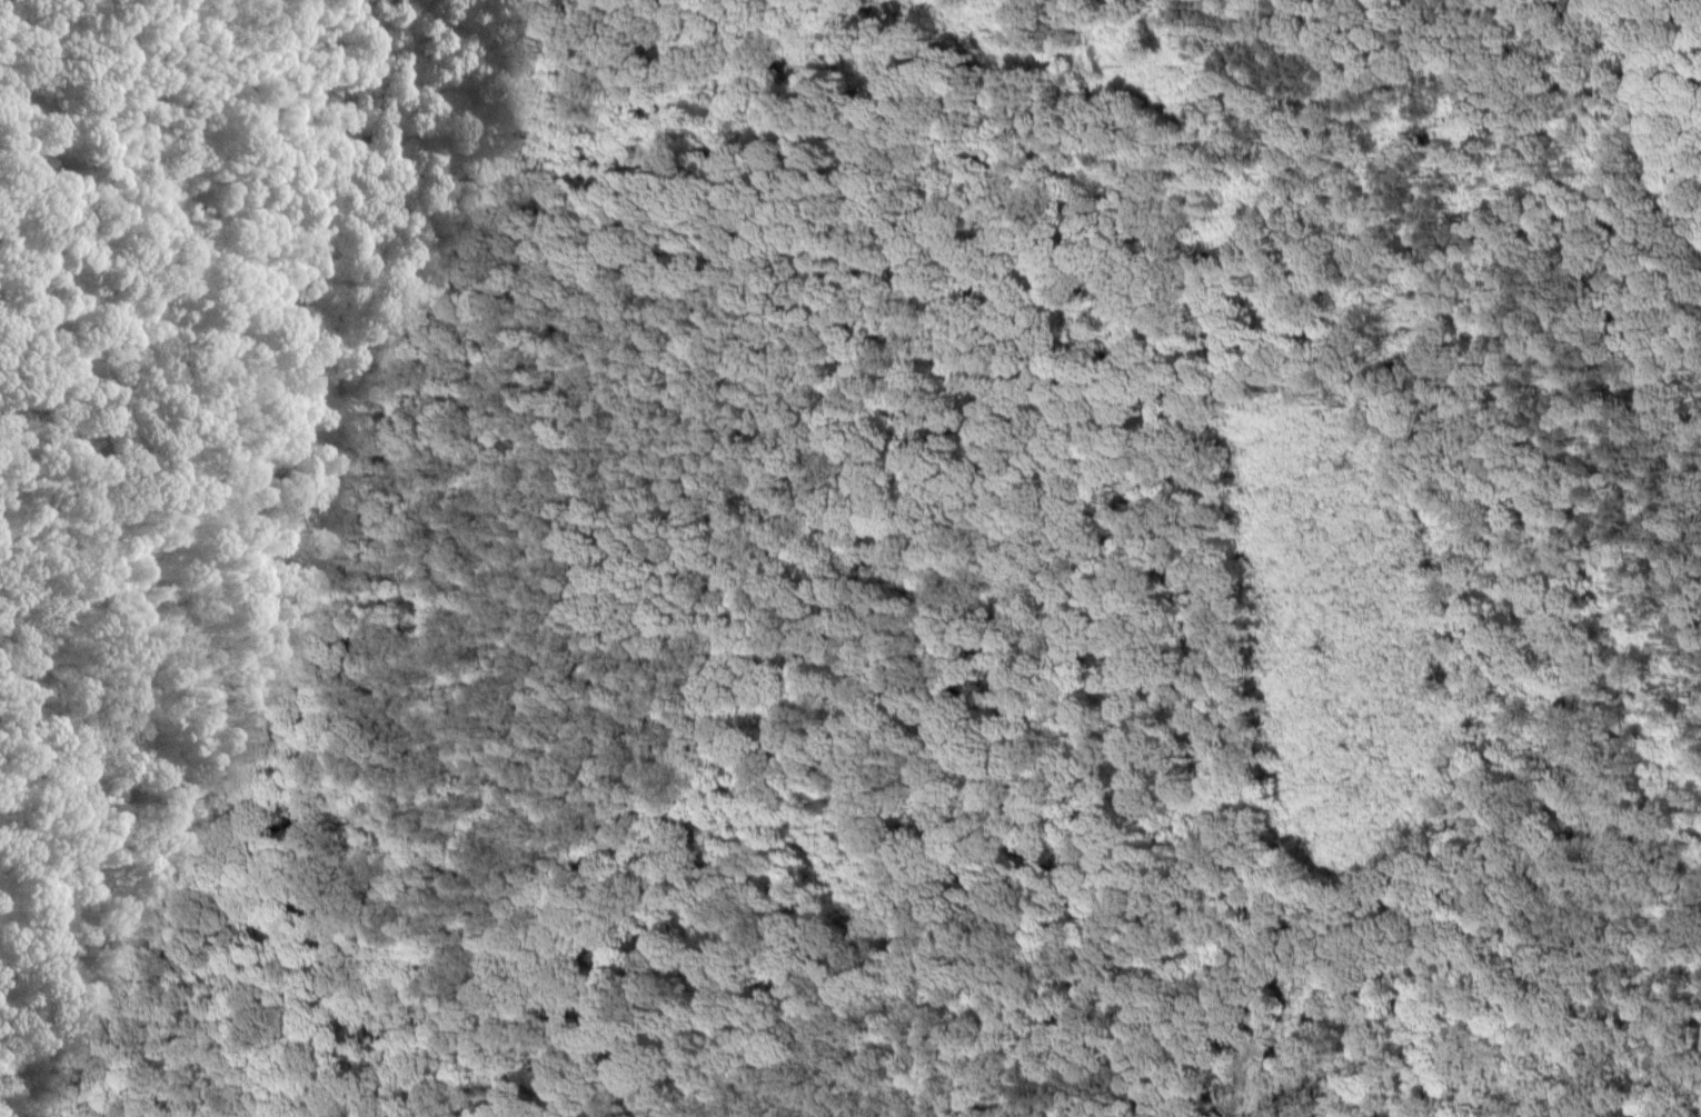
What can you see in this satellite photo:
road: (1216, 911)

